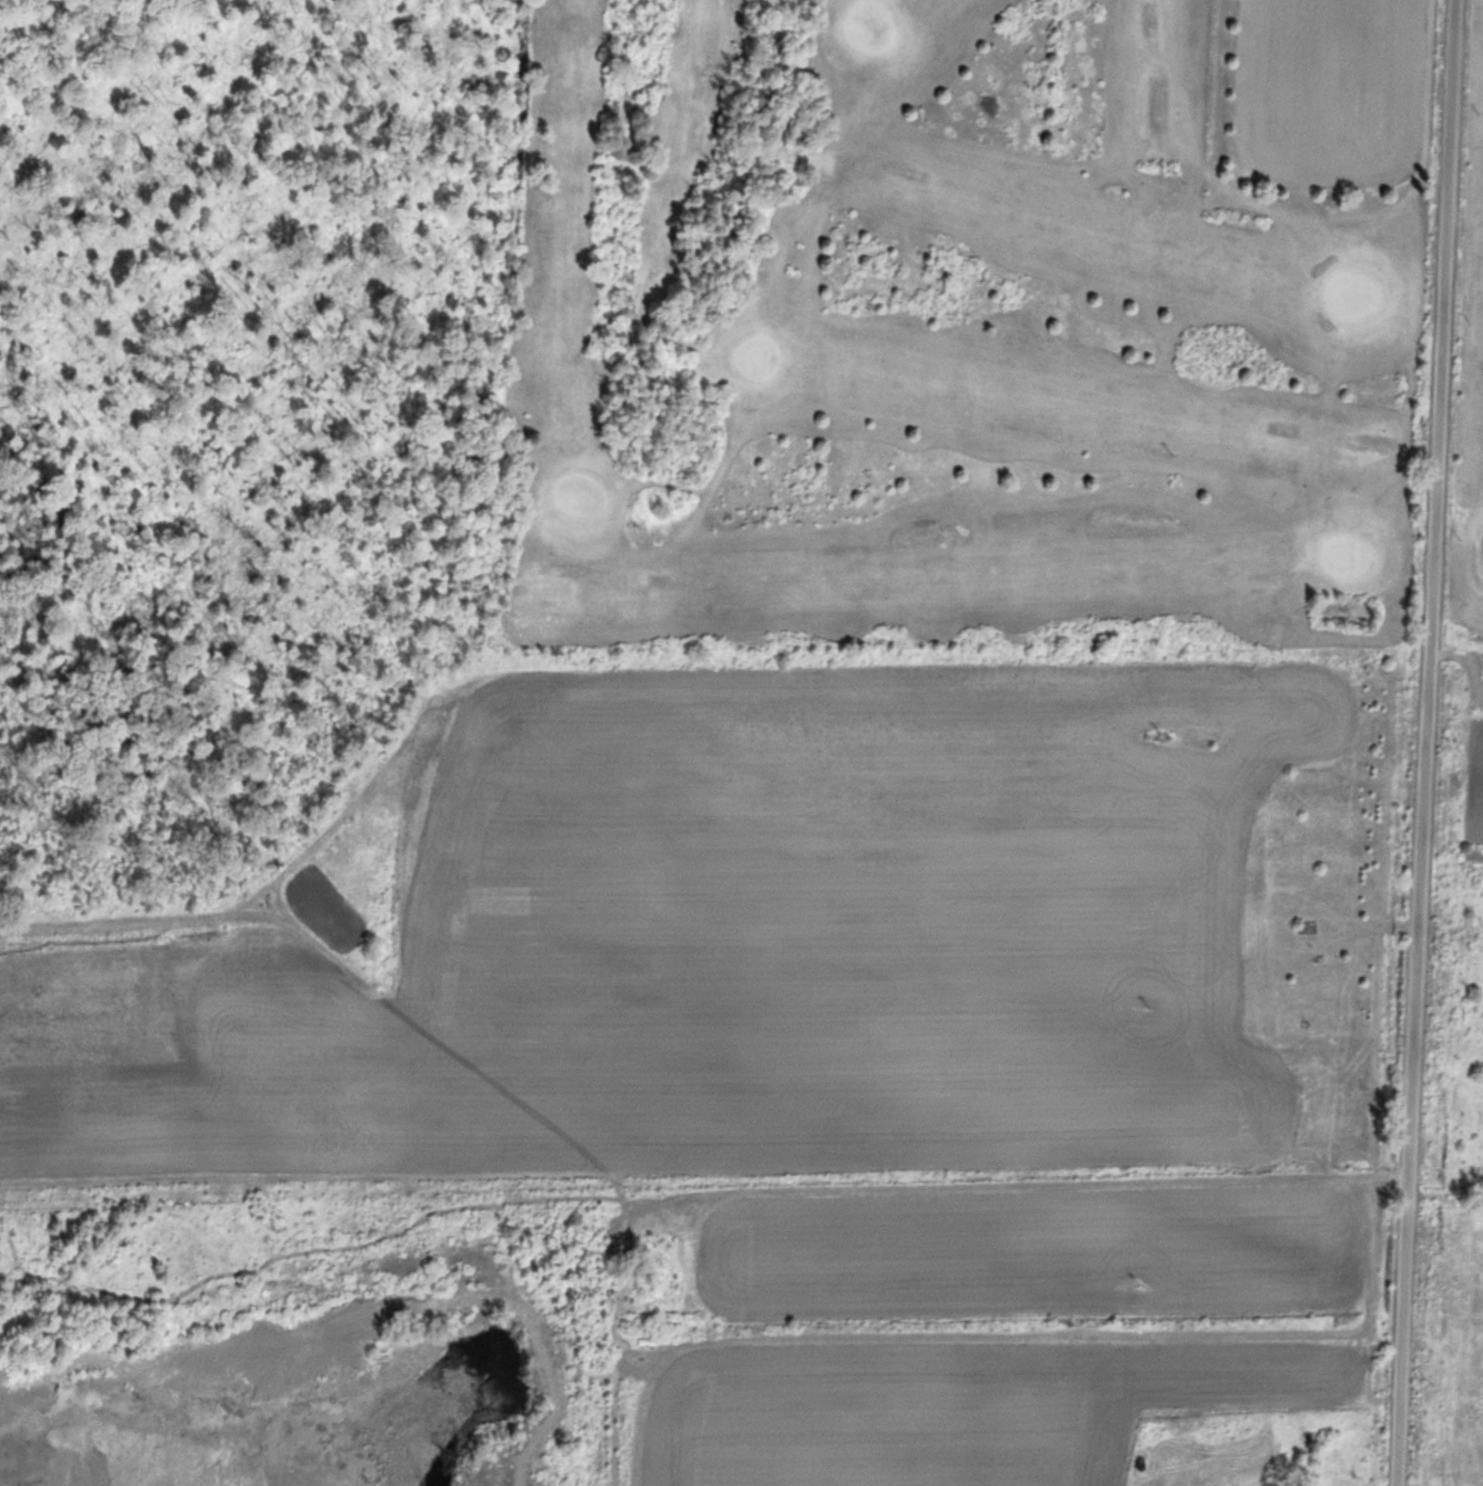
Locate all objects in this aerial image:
park: (977, 331)
road: (1422, 742)
road: (1004, 1188)

